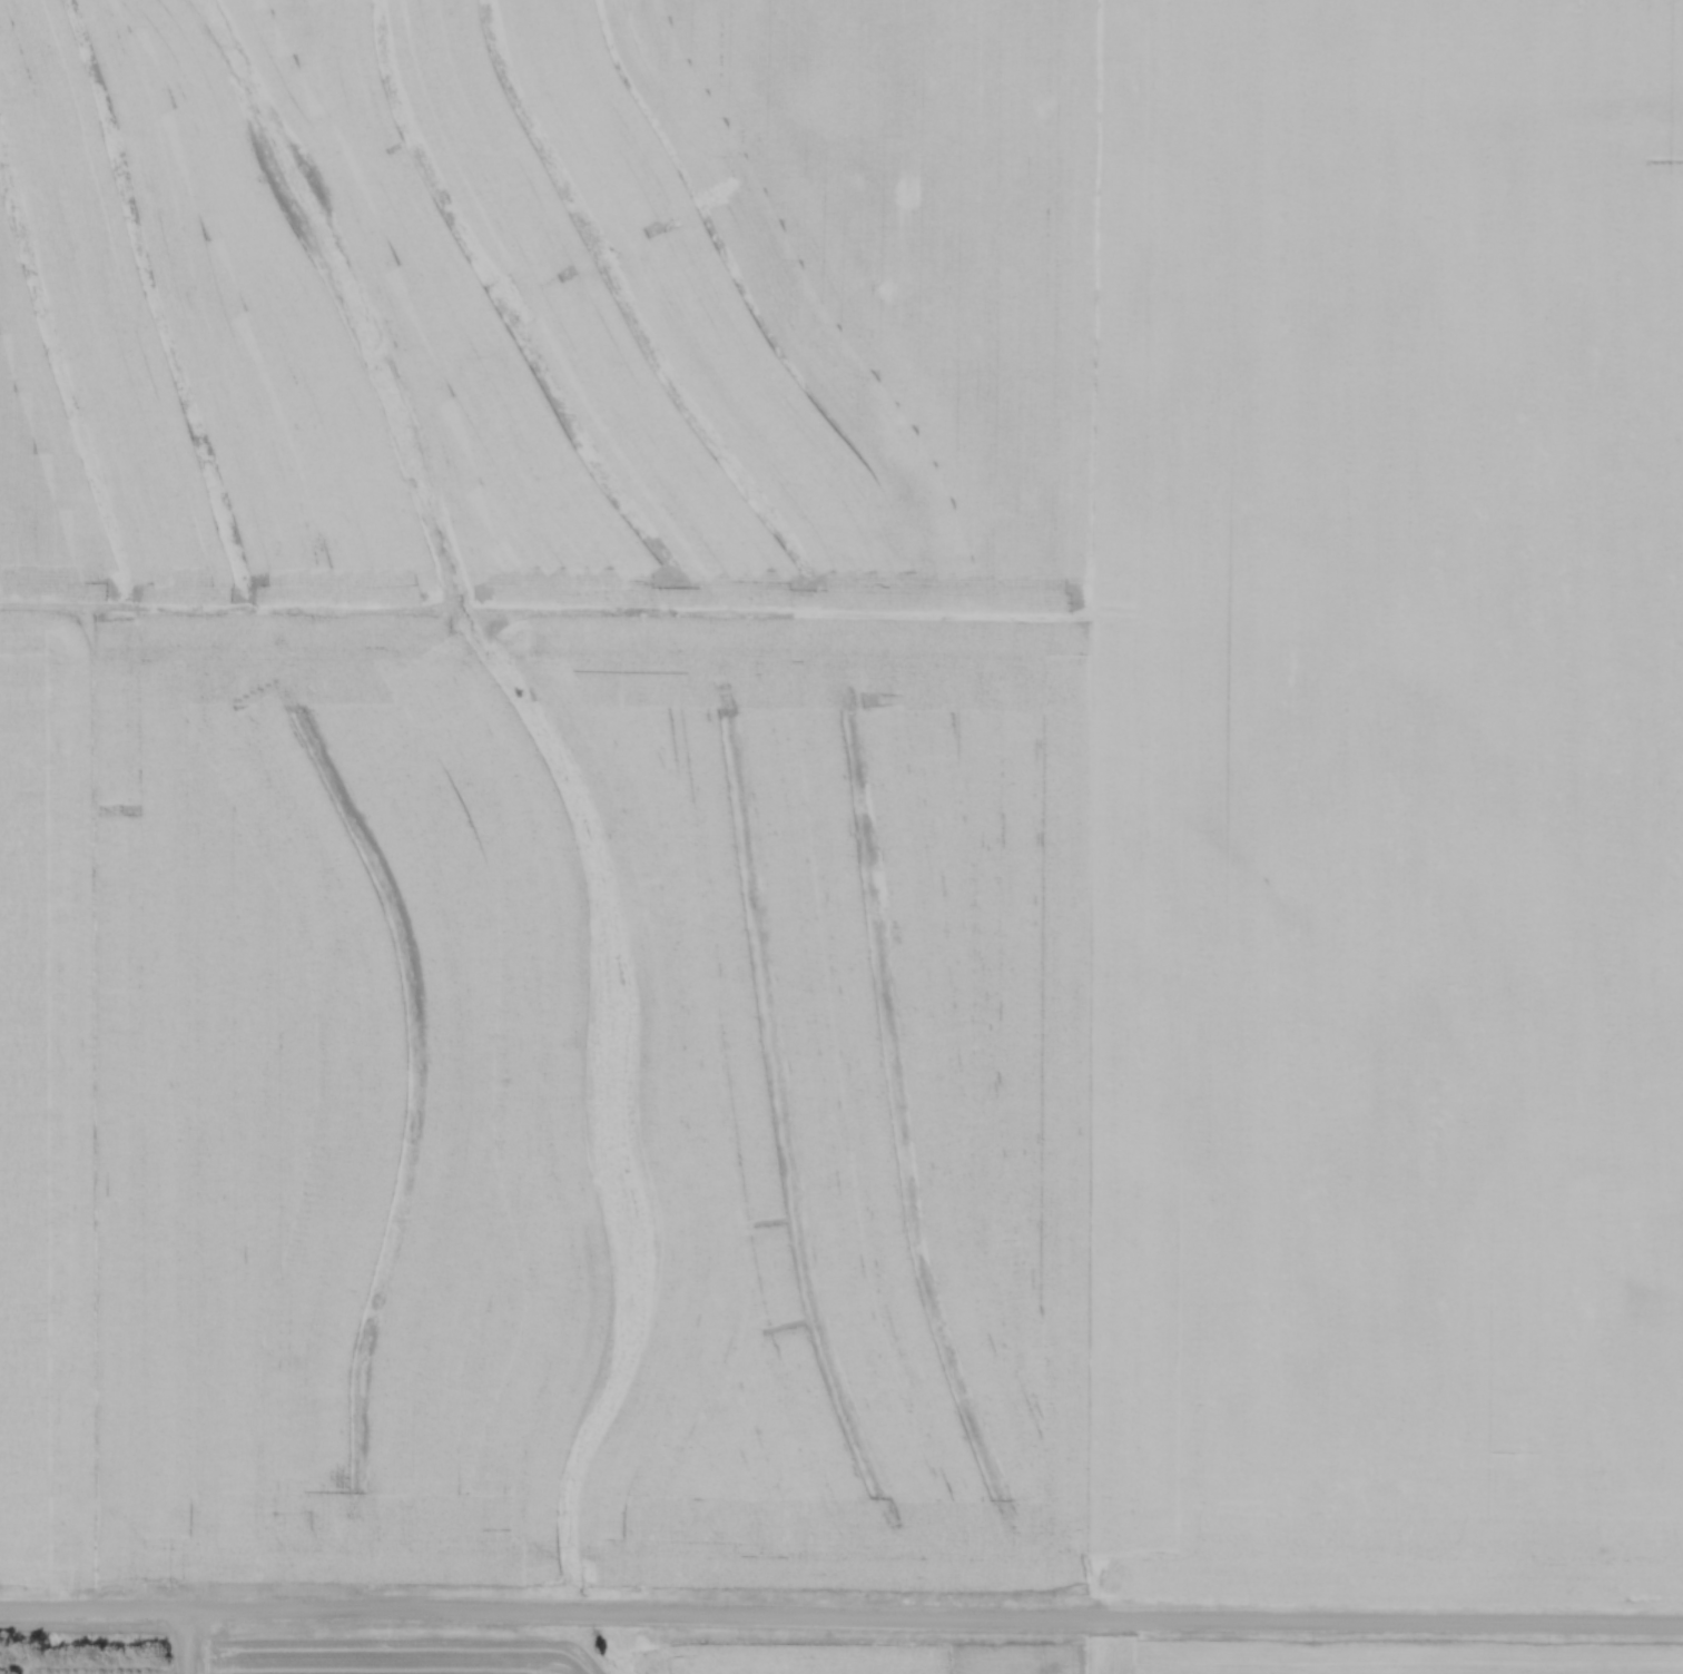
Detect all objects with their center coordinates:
road: (840, 1623)
road: (183, 1645)

